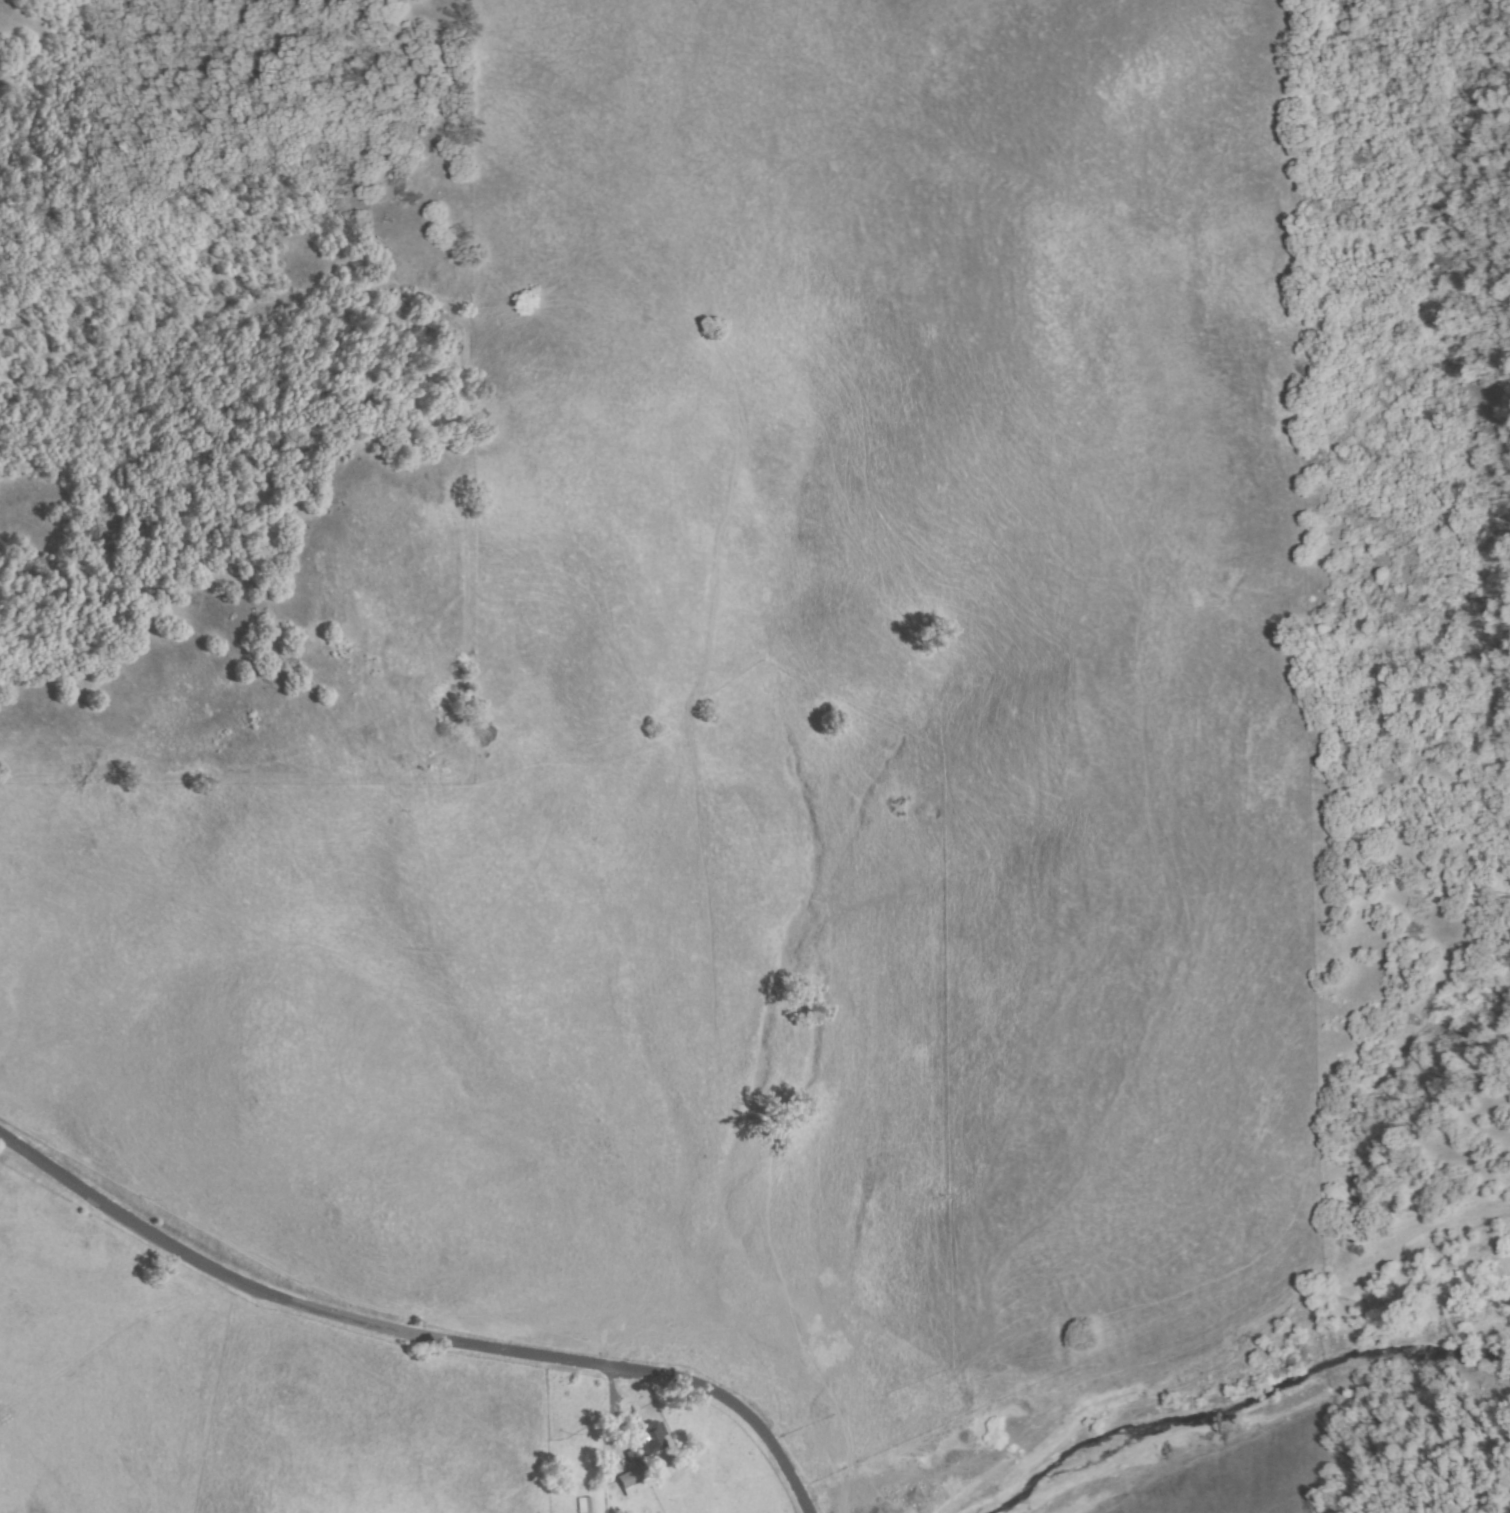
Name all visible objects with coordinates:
road: (412, 1334)
road: (670, 1420)
building: (649, 1438)
building: (632, 1456)
building: (635, 1478)
building: (584, 1506)

